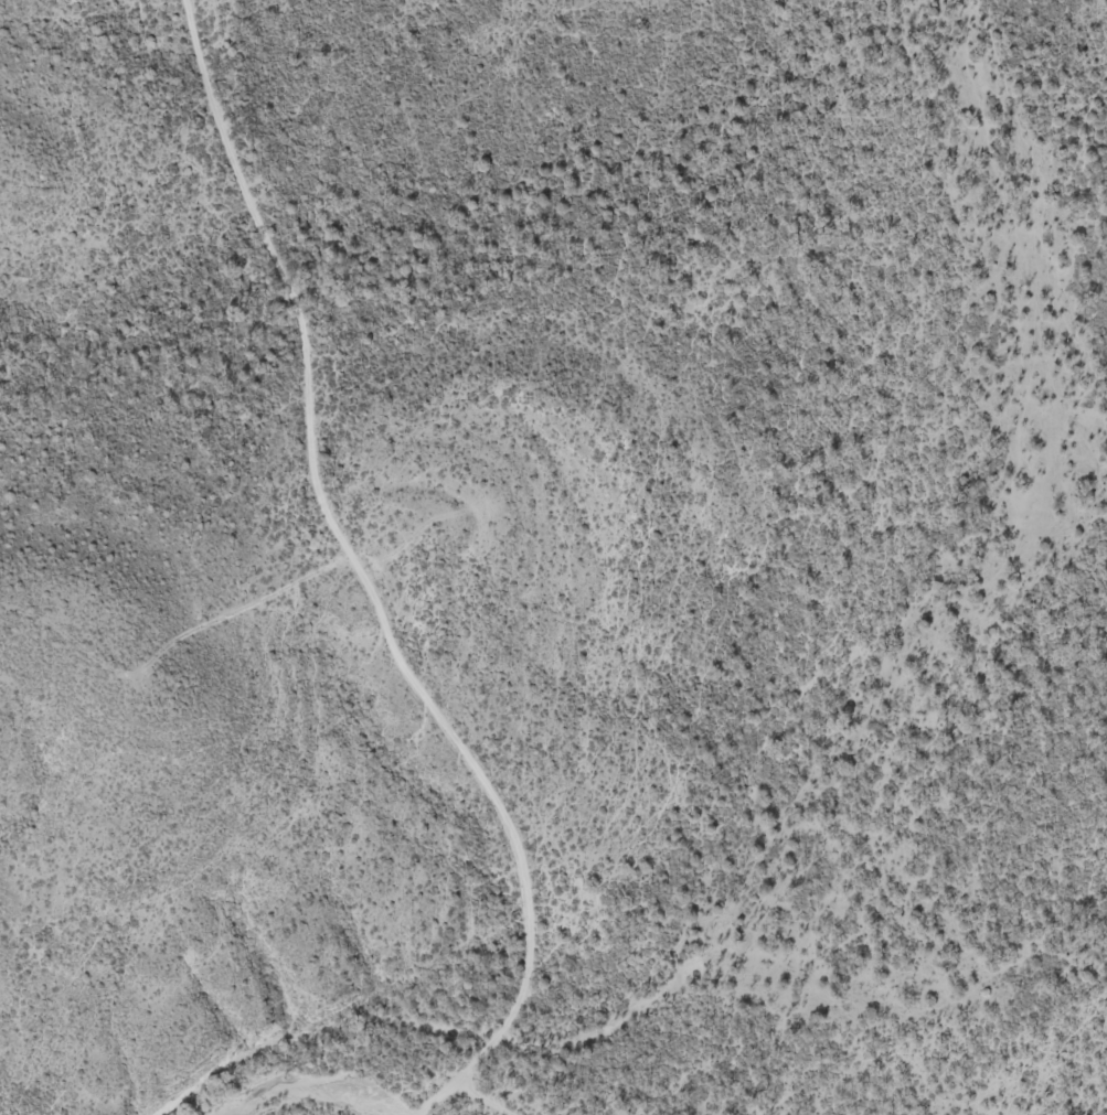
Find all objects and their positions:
road: (364, 581)
road: (488, 1095)

